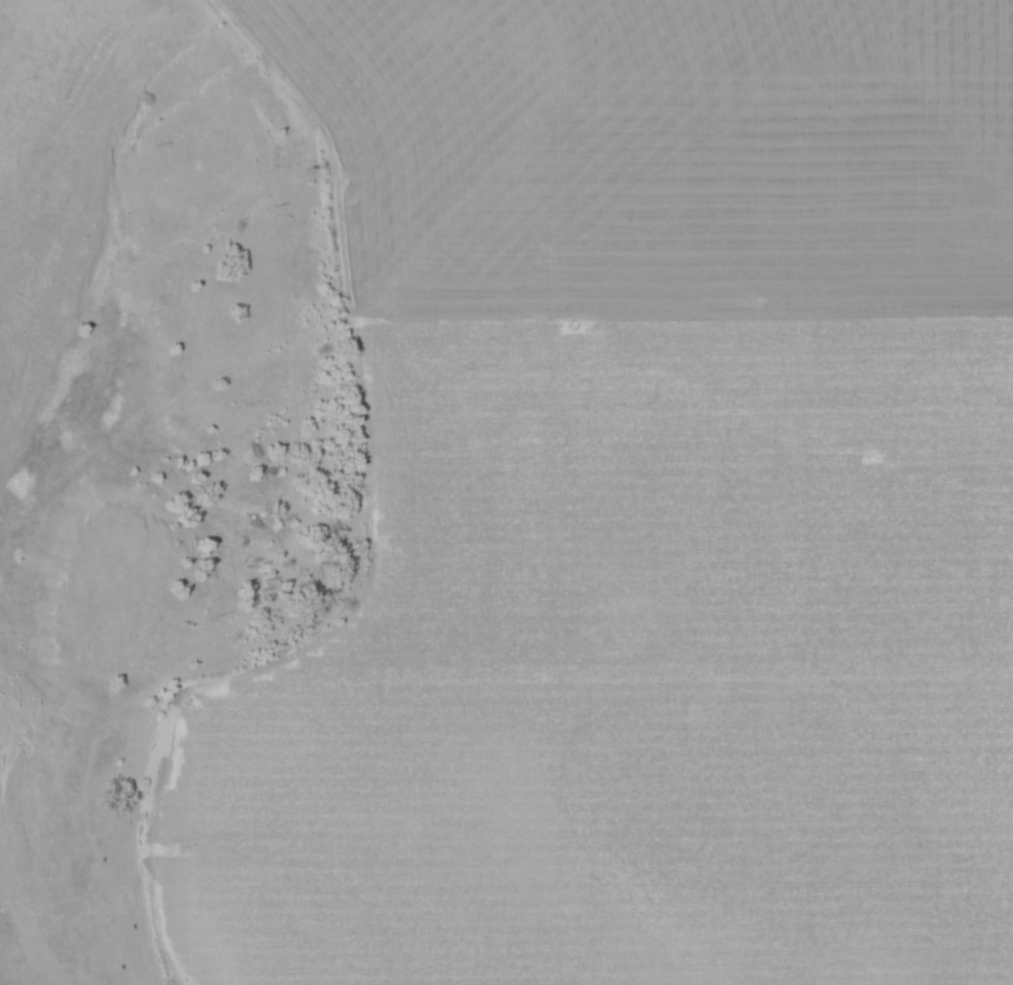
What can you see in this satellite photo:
building: (943, 334)

